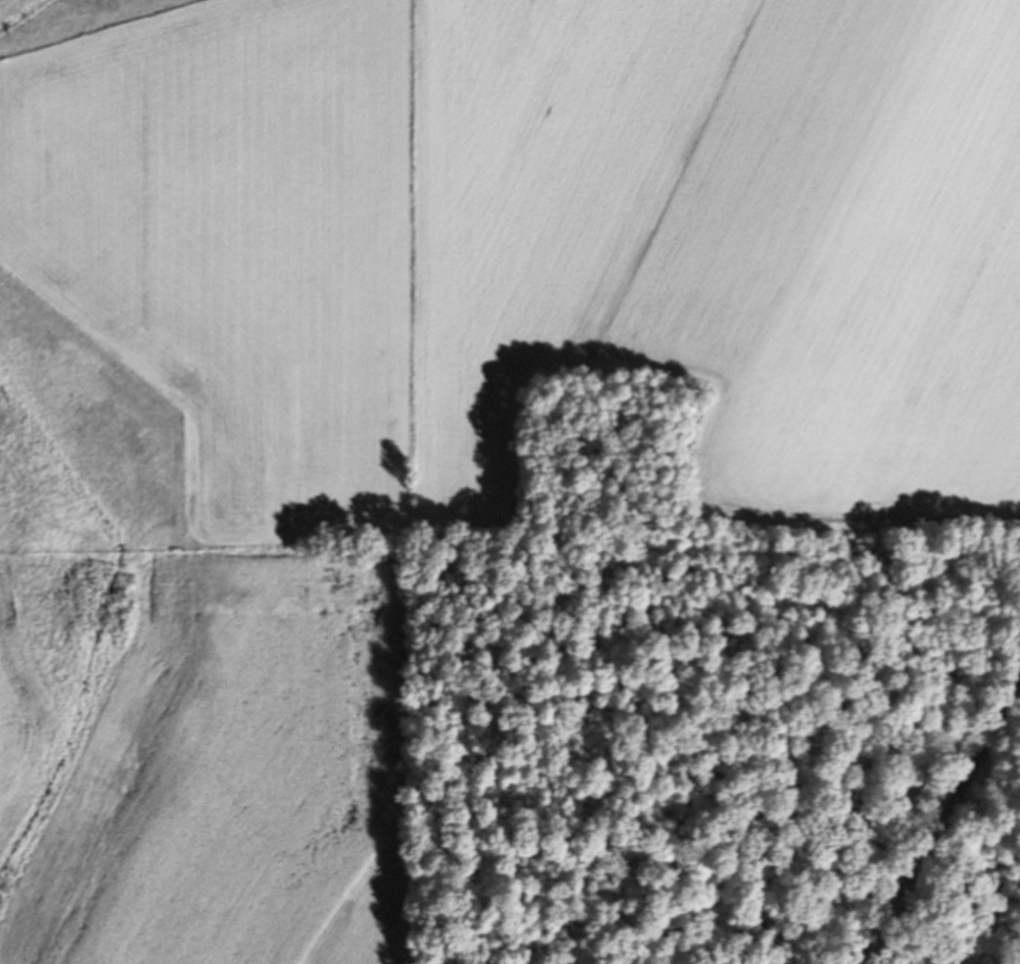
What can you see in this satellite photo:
road: (941, 826)

